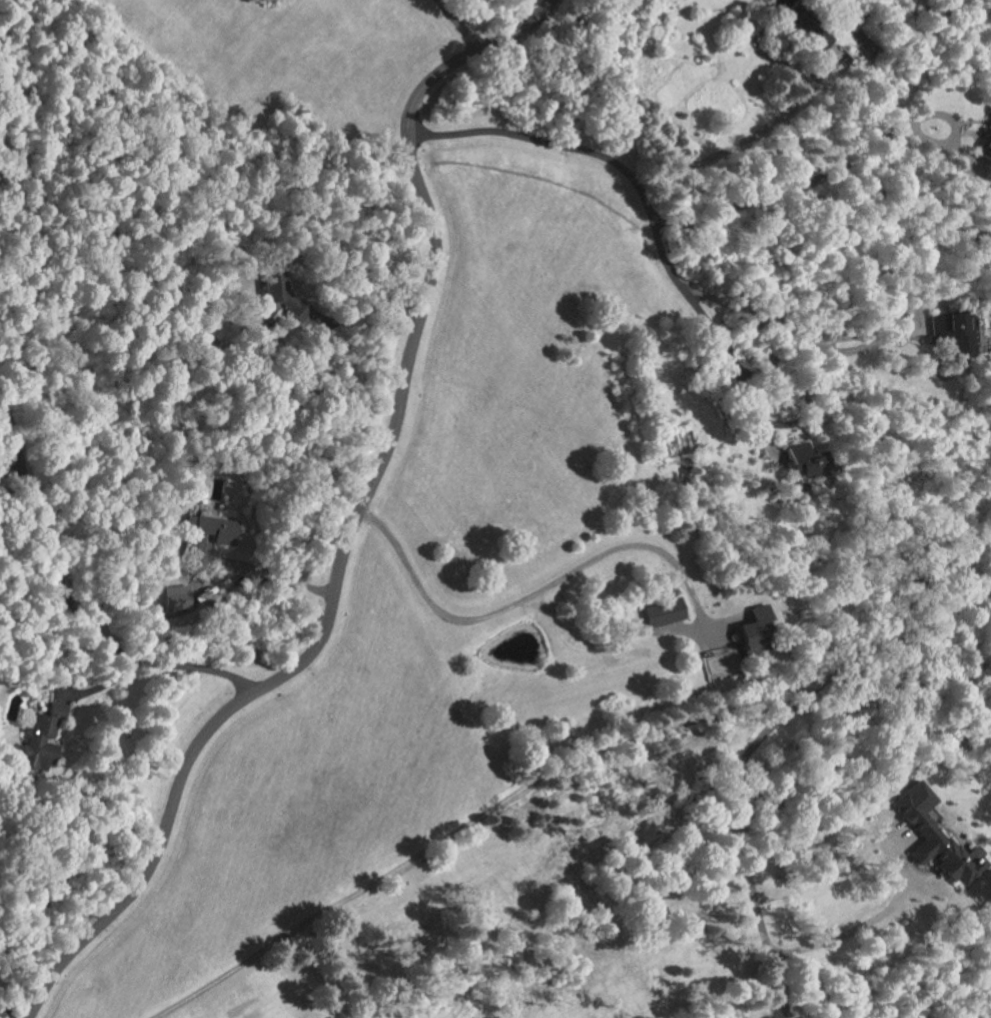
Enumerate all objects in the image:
road: (454, 25)
road: (747, 135)
building: (985, 138)
road: (795, 185)
road: (640, 193)
building: (286, 295)
road: (370, 308)
building: (957, 331)
road: (868, 344)
road: (759, 418)
building: (809, 459)
road: (6, 471)
road: (355, 521)
building: (217, 528)
road: (277, 574)
road: (539, 588)
building: (180, 597)
road: (897, 607)
road: (77, 610)
building: (666, 612)
building: (759, 629)
building: (43, 739)
road: (467, 825)
building: (939, 837)
road: (740, 842)
road: (863, 924)
road: (319, 977)
road: (5, 1008)

